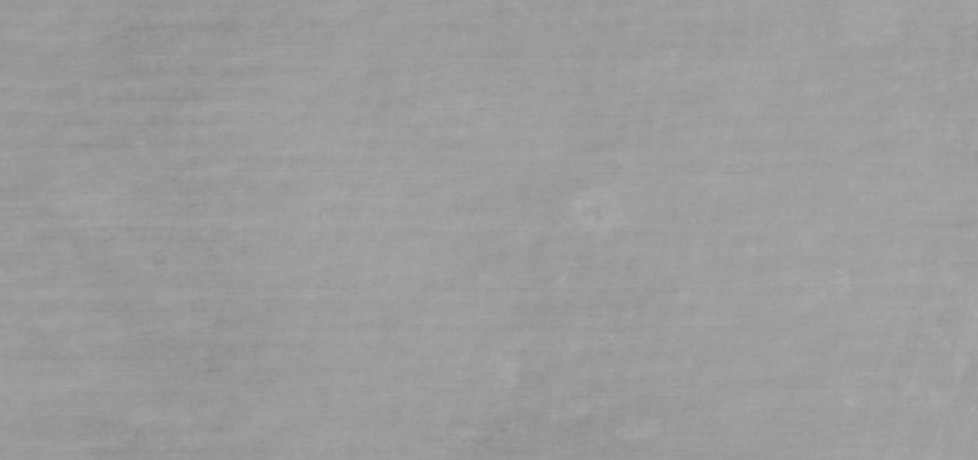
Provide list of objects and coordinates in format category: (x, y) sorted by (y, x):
crop: (489, 230)

